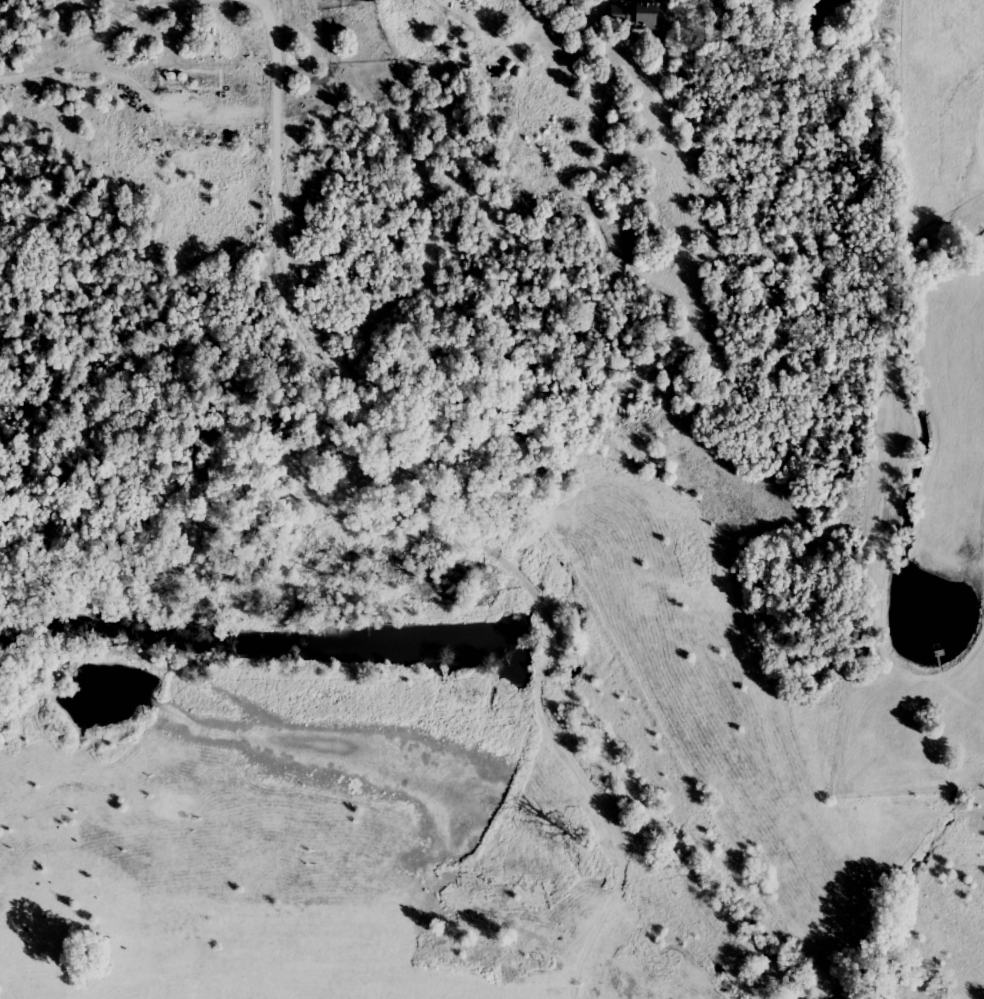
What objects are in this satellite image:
road: (254, 0)
building: (641, 15)
road: (492, 30)
road: (107, 31)
road: (446, 507)

